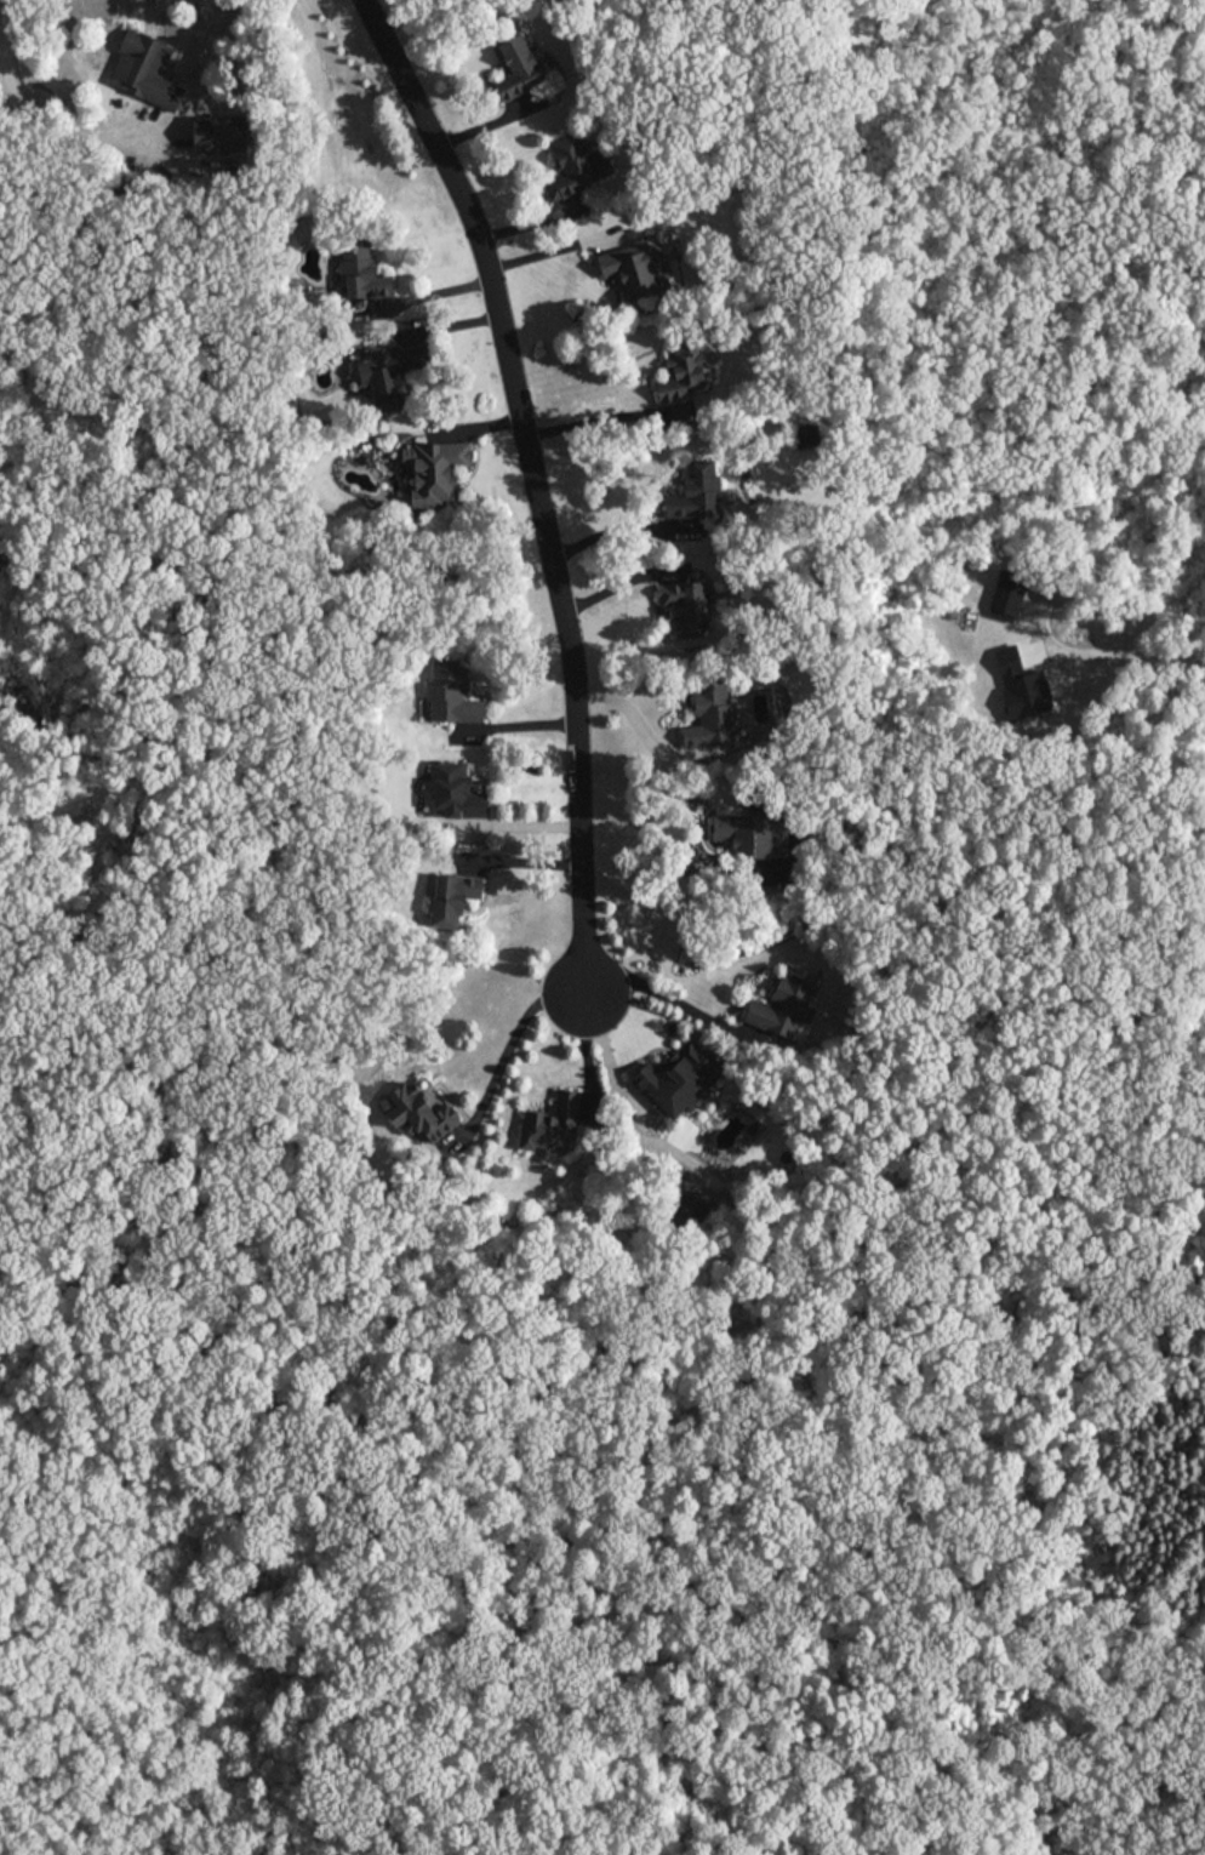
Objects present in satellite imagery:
road: (5, 51)
building: (521, 63)
building: (145, 69)
road: (5, 108)
road: (73, 129)
building: (221, 133)
building: (576, 166)
road: (548, 242)
building: (636, 270)
building: (365, 274)
building: (685, 366)
building: (396, 372)
road: (589, 423)
building: (433, 470)
road: (535, 484)
building: (697, 487)
road: (612, 530)
building: (686, 606)
building: (452, 694)
building: (712, 715)
road: (632, 717)
building: (457, 789)
road: (647, 821)
building: (747, 831)
building: (455, 900)
road: (652, 991)
building: (784, 1006)
road: (508, 1054)
road: (582, 1061)
building: (679, 1078)
building: (421, 1113)
building: (554, 1123)
park: (600, 1559)

